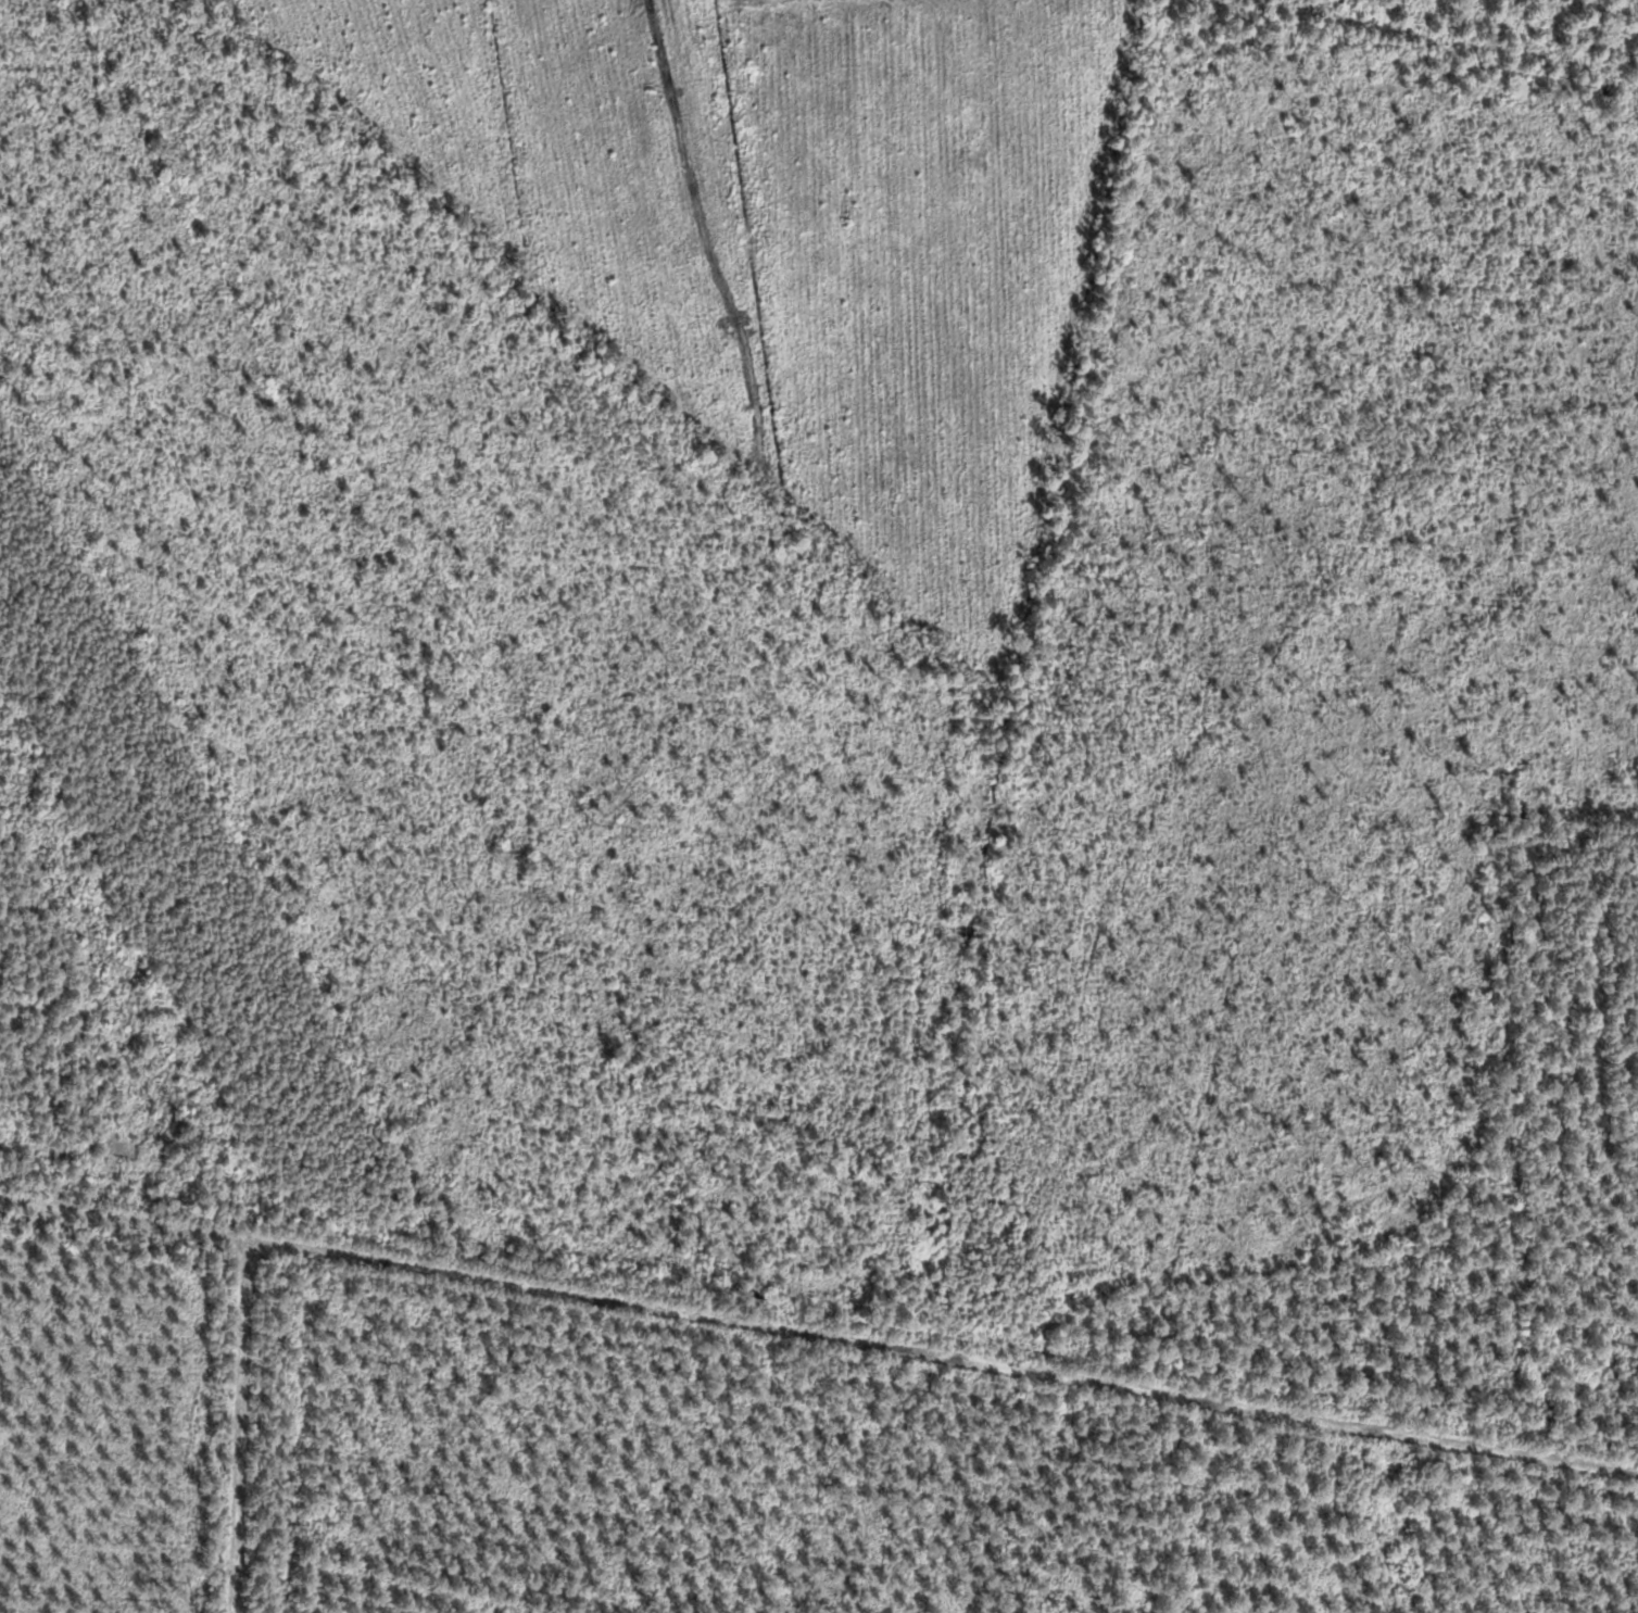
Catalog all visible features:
road: (816, 1331)
road: (240, 1417)

